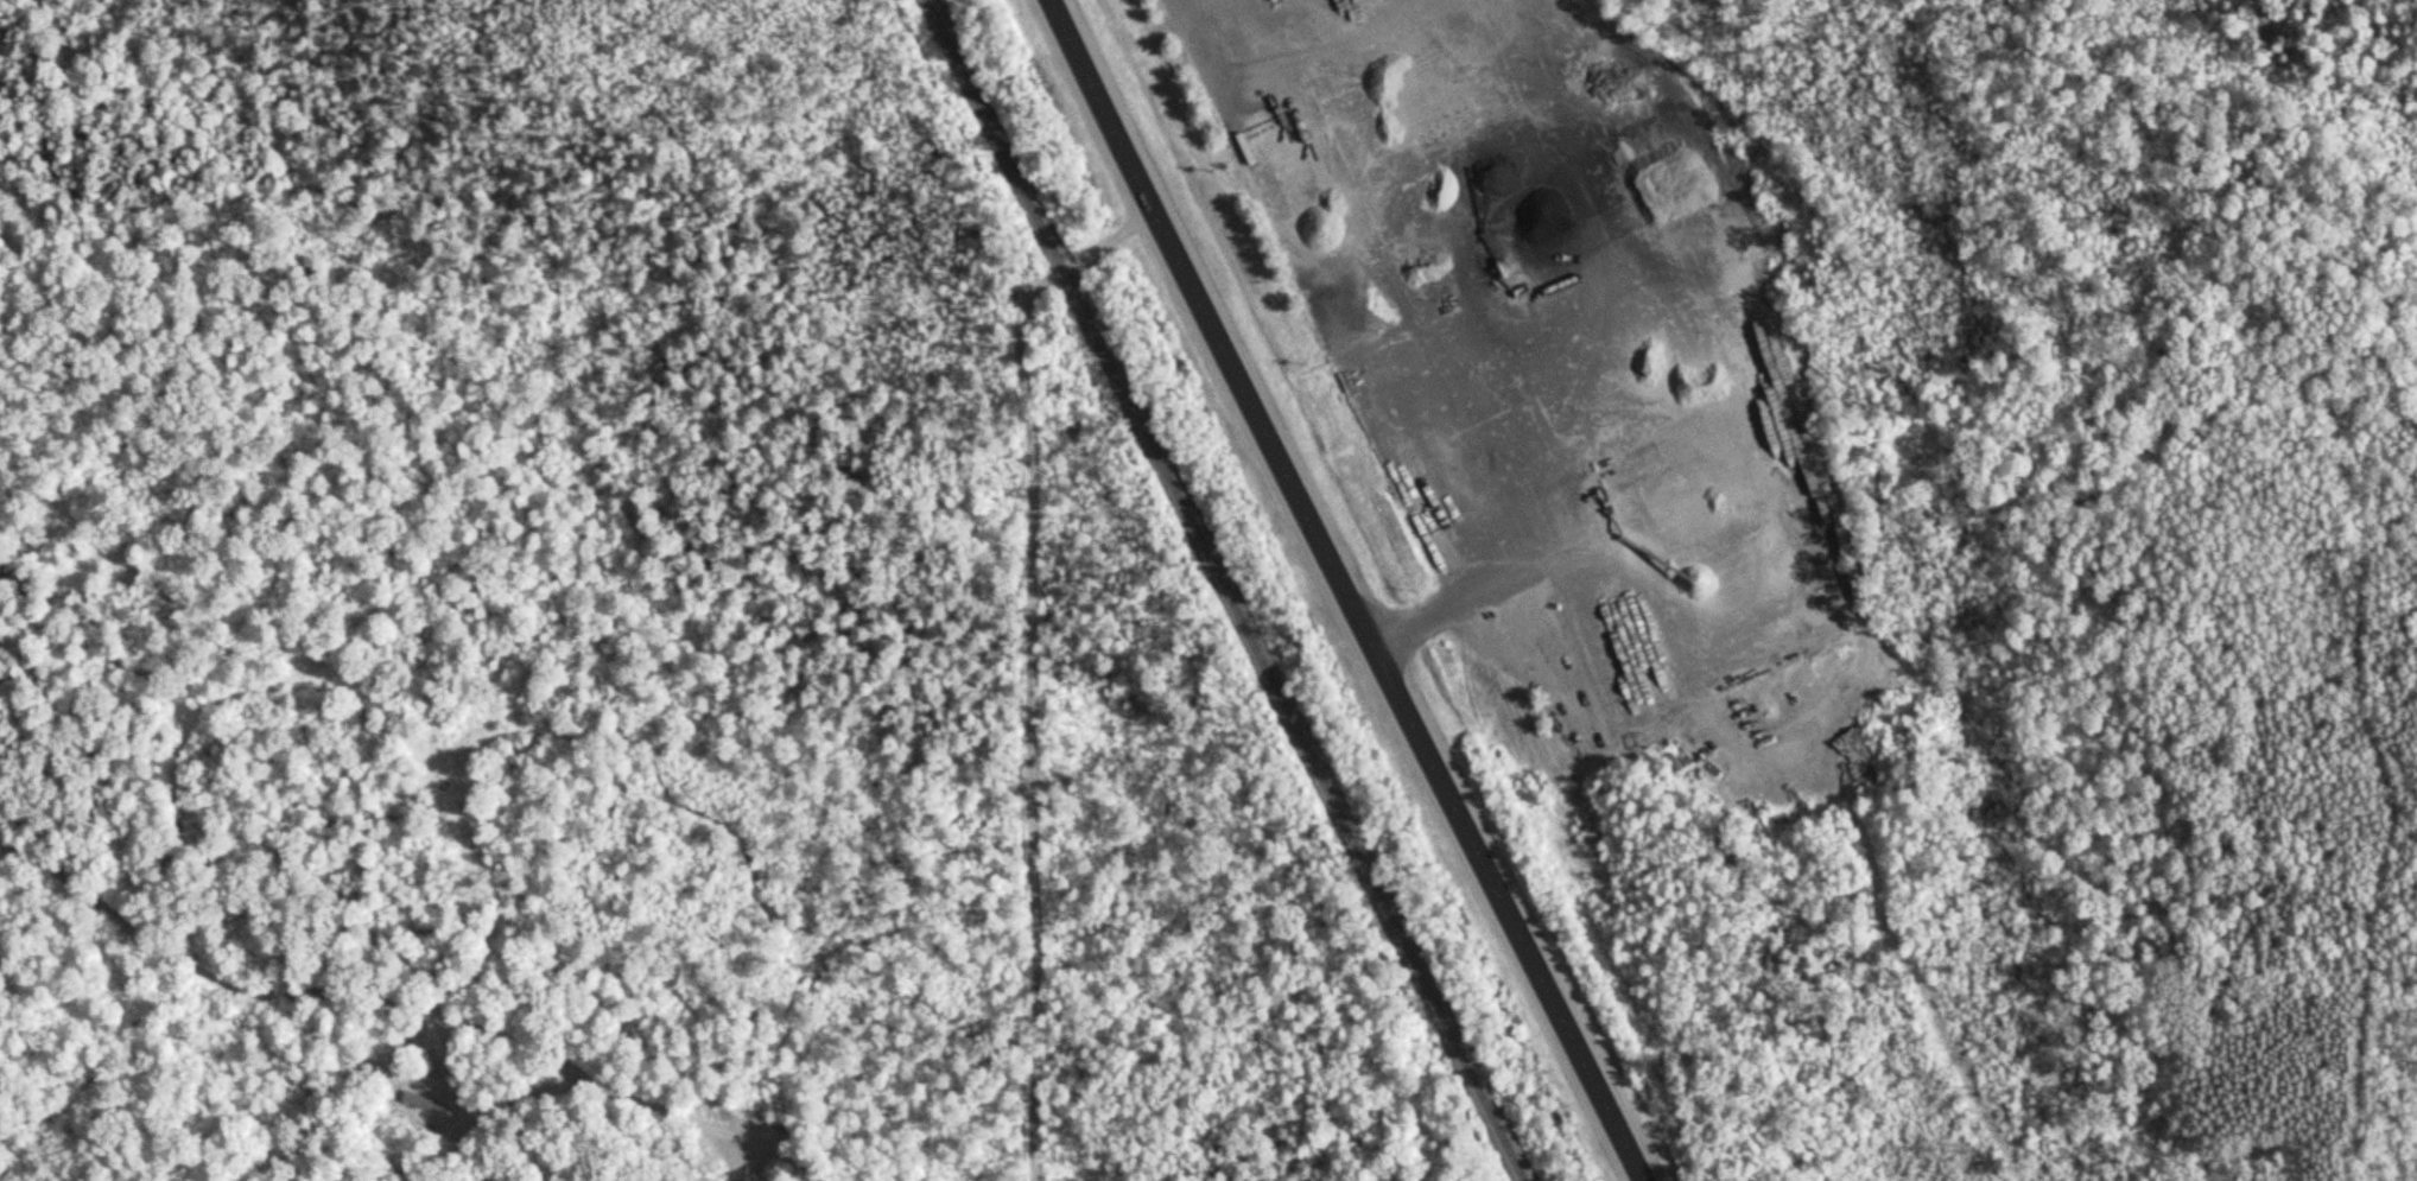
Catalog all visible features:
railway: (1220, 590)
road: (1345, 591)
road: (2372, 764)

